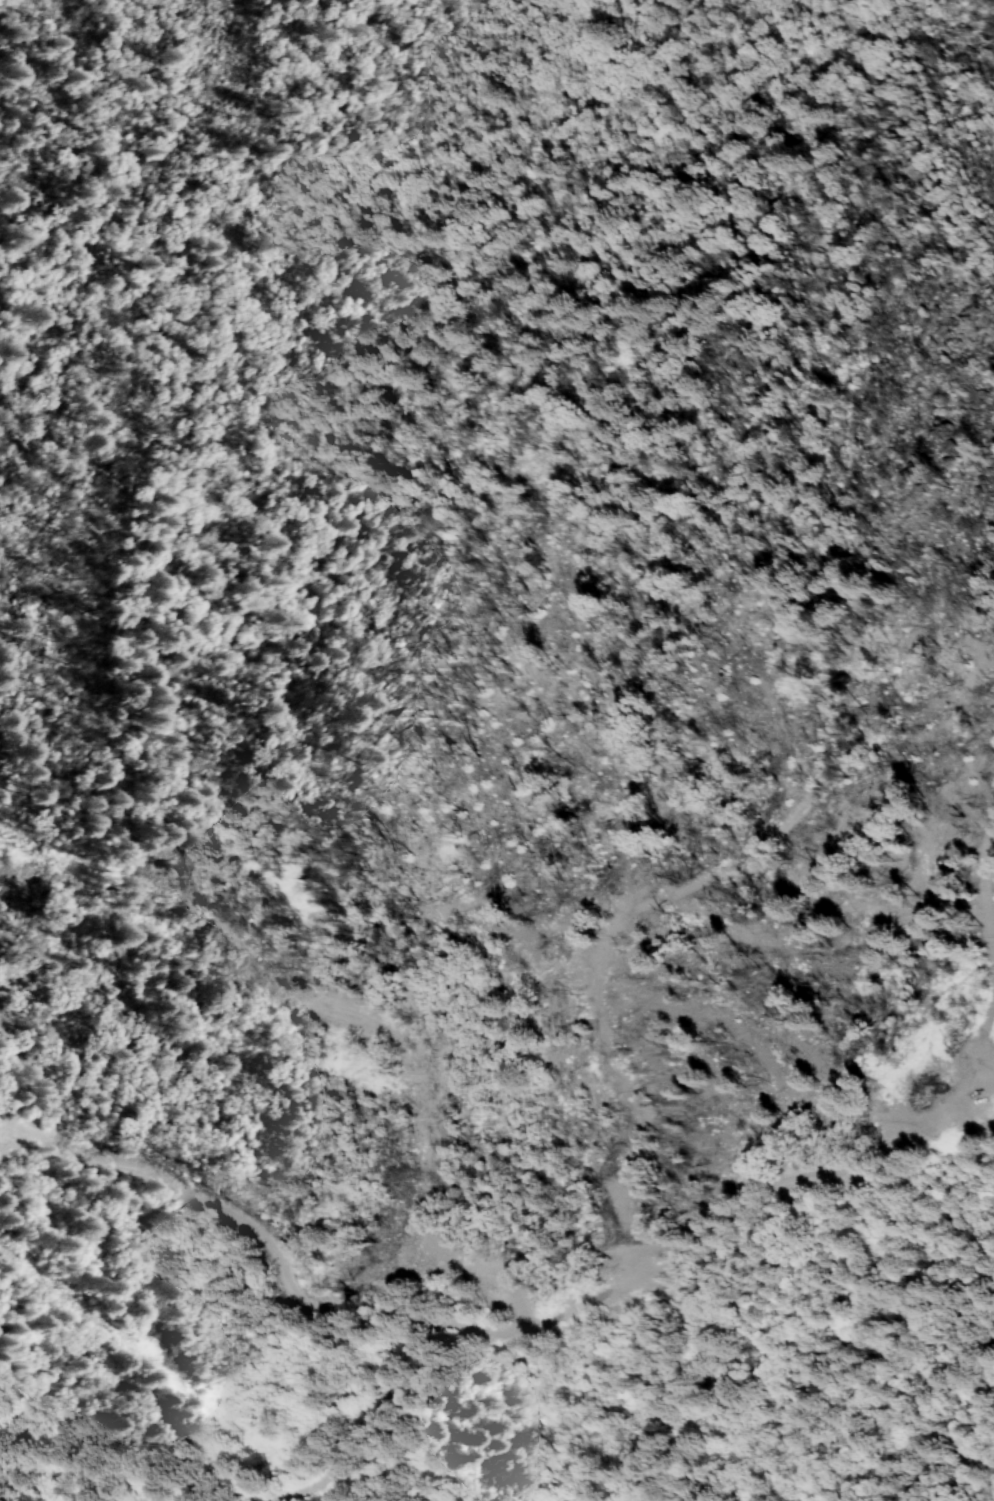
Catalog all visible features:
road: (289, 1240)

